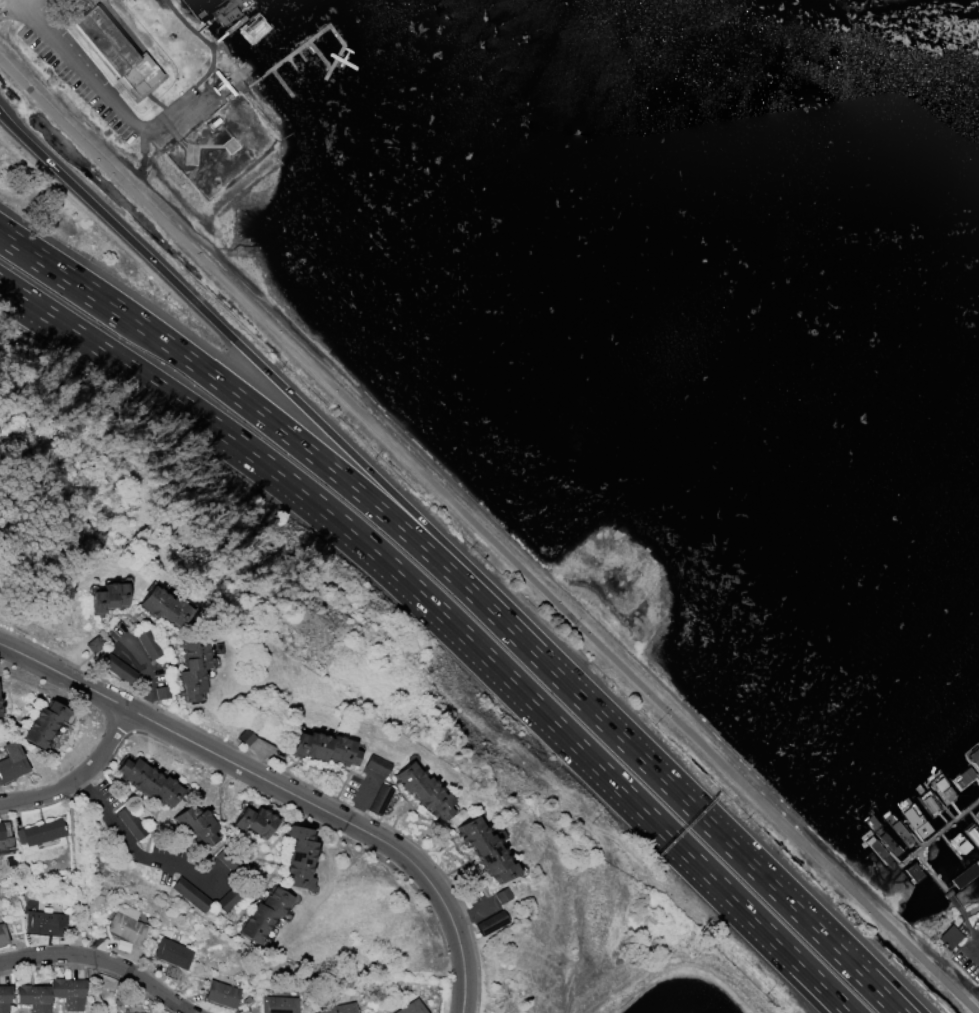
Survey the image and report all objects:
building: (91, 1)
road: (192, 28)
pier: (234, 30)
pier: (307, 46)
building: (117, 53)
road: (88, 73)
helipad: (231, 146)
road: (93, 296)
road: (50, 315)
road: (49, 331)
road: (272, 377)
road: (365, 498)
road: (488, 537)
building: (109, 597)
building: (164, 606)
road: (456, 625)
building: (148, 645)
building: (194, 668)
building: (120, 670)
road: (153, 675)
building: (162, 693)
building: (43, 724)
building: (325, 748)
building: (974, 756)
road: (640, 759)
building: (11, 762)
building: (377, 766)
road: (80, 779)
building: (964, 779)
building: (150, 782)
road: (280, 788)
building: (942, 790)
building: (424, 791)
building: (380, 799)
road: (360, 800)
building: (930, 804)
building: (977, 814)
road: (73, 816)
building: (977, 817)
building: (254, 822)
building: (131, 823)
building: (197, 823)
building: (900, 831)
building: (40, 832)
building: (972, 833)
building: (4, 839)
building: (887, 841)
building: (958, 844)
building: (486, 850)
building: (878, 850)
road: (136, 852)
pier: (918, 852)
building: (300, 857)
road: (78, 865)
building: (913, 873)
building: (964, 875)
building: (190, 895)
road: (82, 896)
building: (230, 897)
road: (474, 912)
building: (265, 914)
building: (44, 922)
building: (491, 923)
road: (85, 924)
building: (126, 924)
building: (2, 934)
building: (949, 937)
road: (823, 939)
road: (833, 939)
building: (172, 954)
road: (87, 955)
road: (101, 961)
road: (806, 977)
road: (814, 977)
building: (221, 994)
building: (52, 995)
building: (4, 998)
road: (93, 999)
building: (278, 1004)
building: (339, 1008)
building: (412, 1008)

